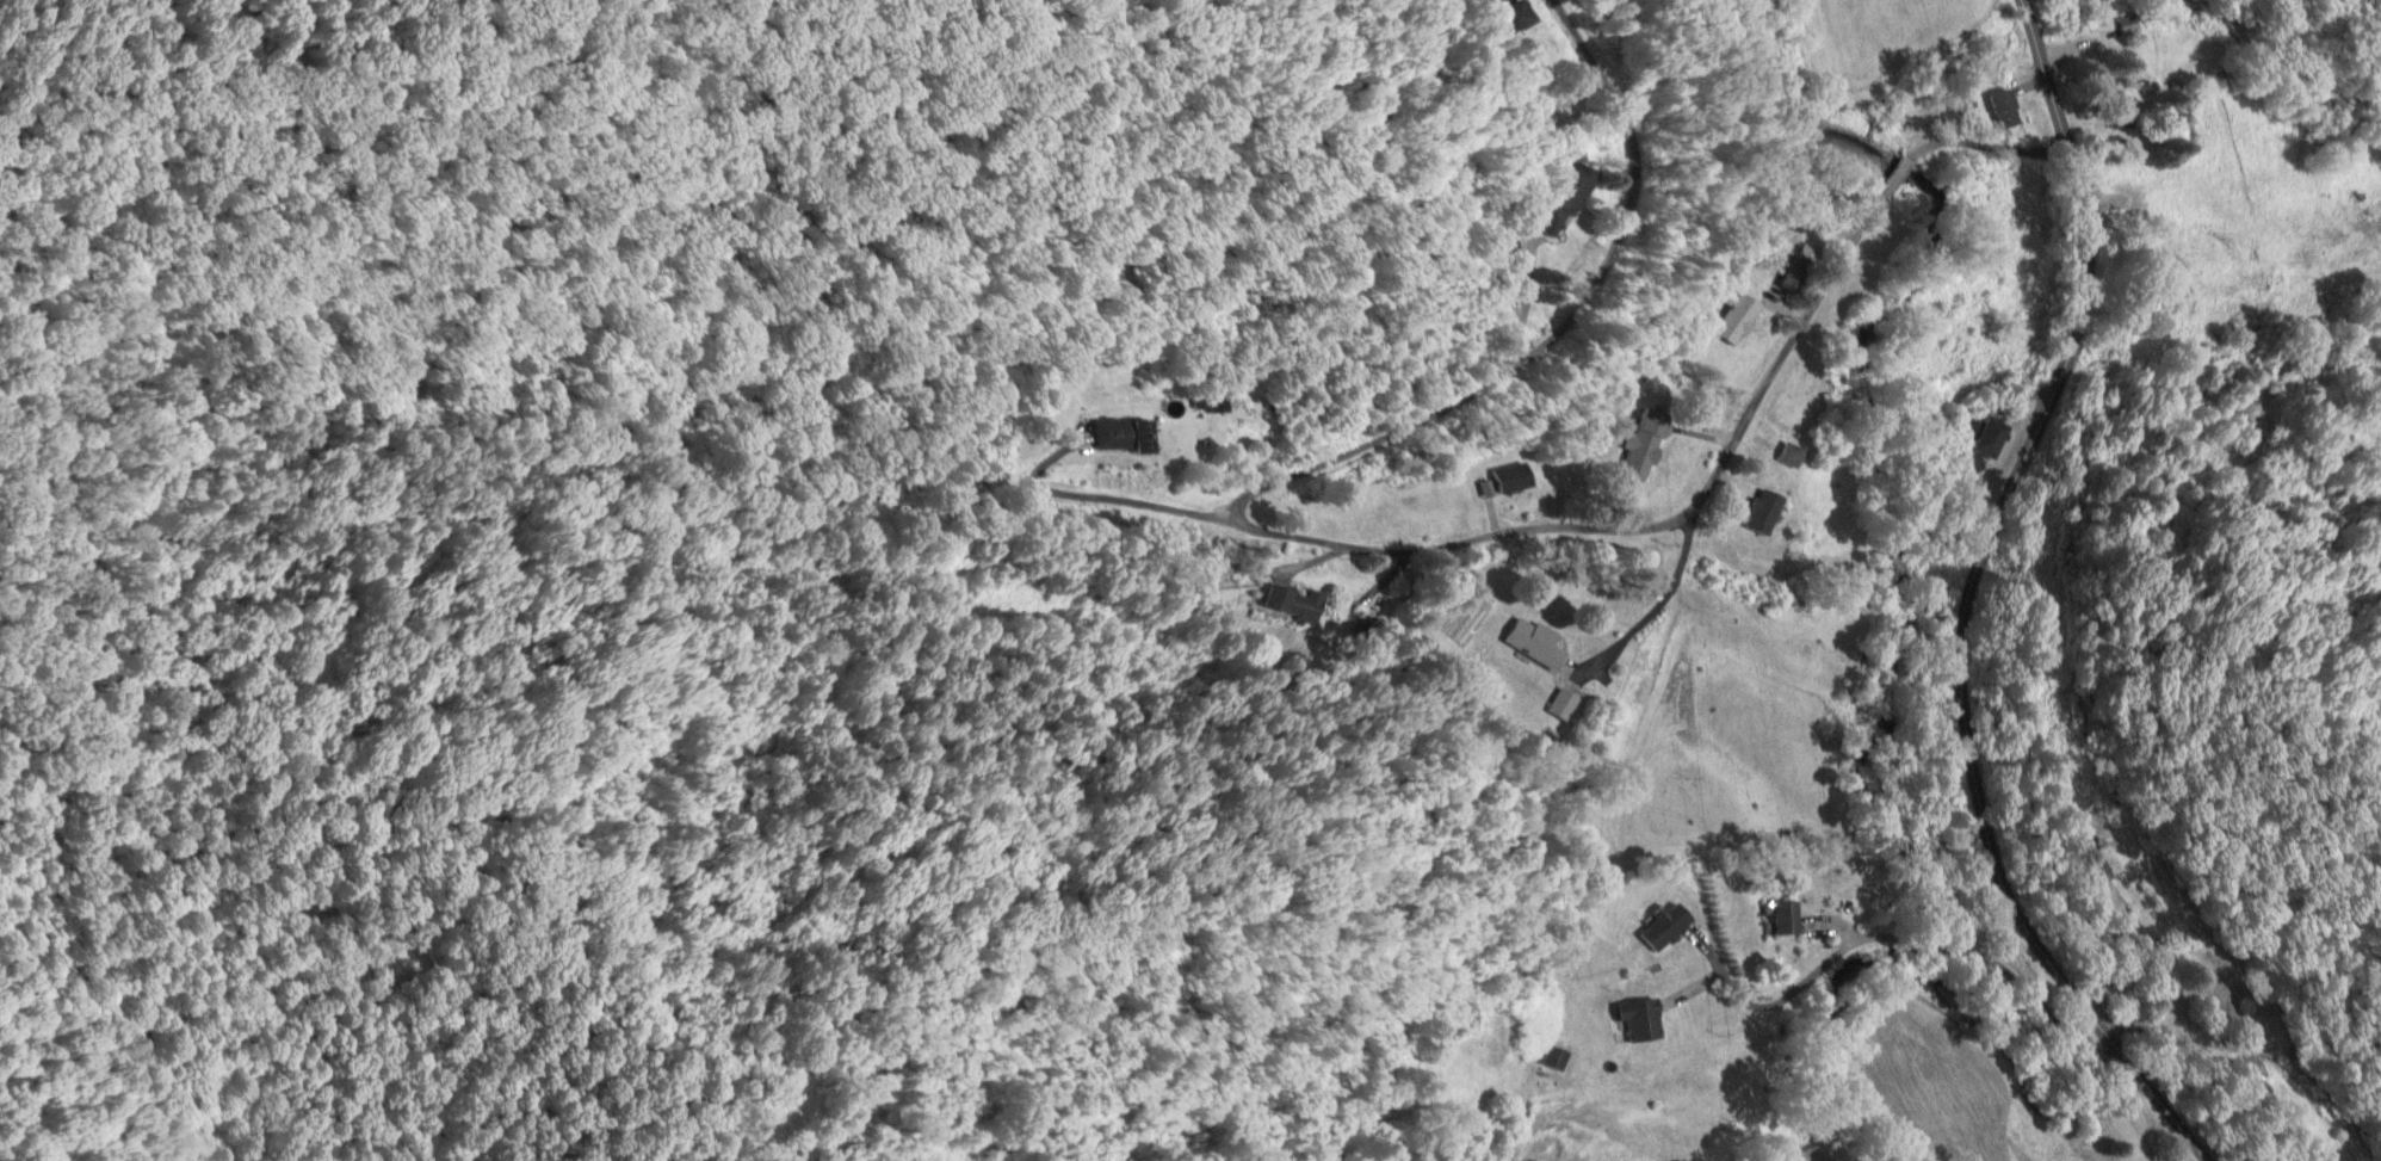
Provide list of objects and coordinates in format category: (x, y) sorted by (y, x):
building: (1519, 16)
building: (2129, 24)
building: (2006, 110)
building: (1569, 196)
building: (1733, 316)
building: (1126, 437)
building: (1992, 438)
building: (1646, 445)
building: (1793, 453)
building: (1514, 478)
building: (1765, 511)
road: (1657, 527)
building: (1295, 601)
road: (1968, 603)
building: (1536, 641)
building: (1788, 918)
building: (1669, 925)
building: (2218, 992)
building: (1643, 1019)
building: (1558, 1057)

